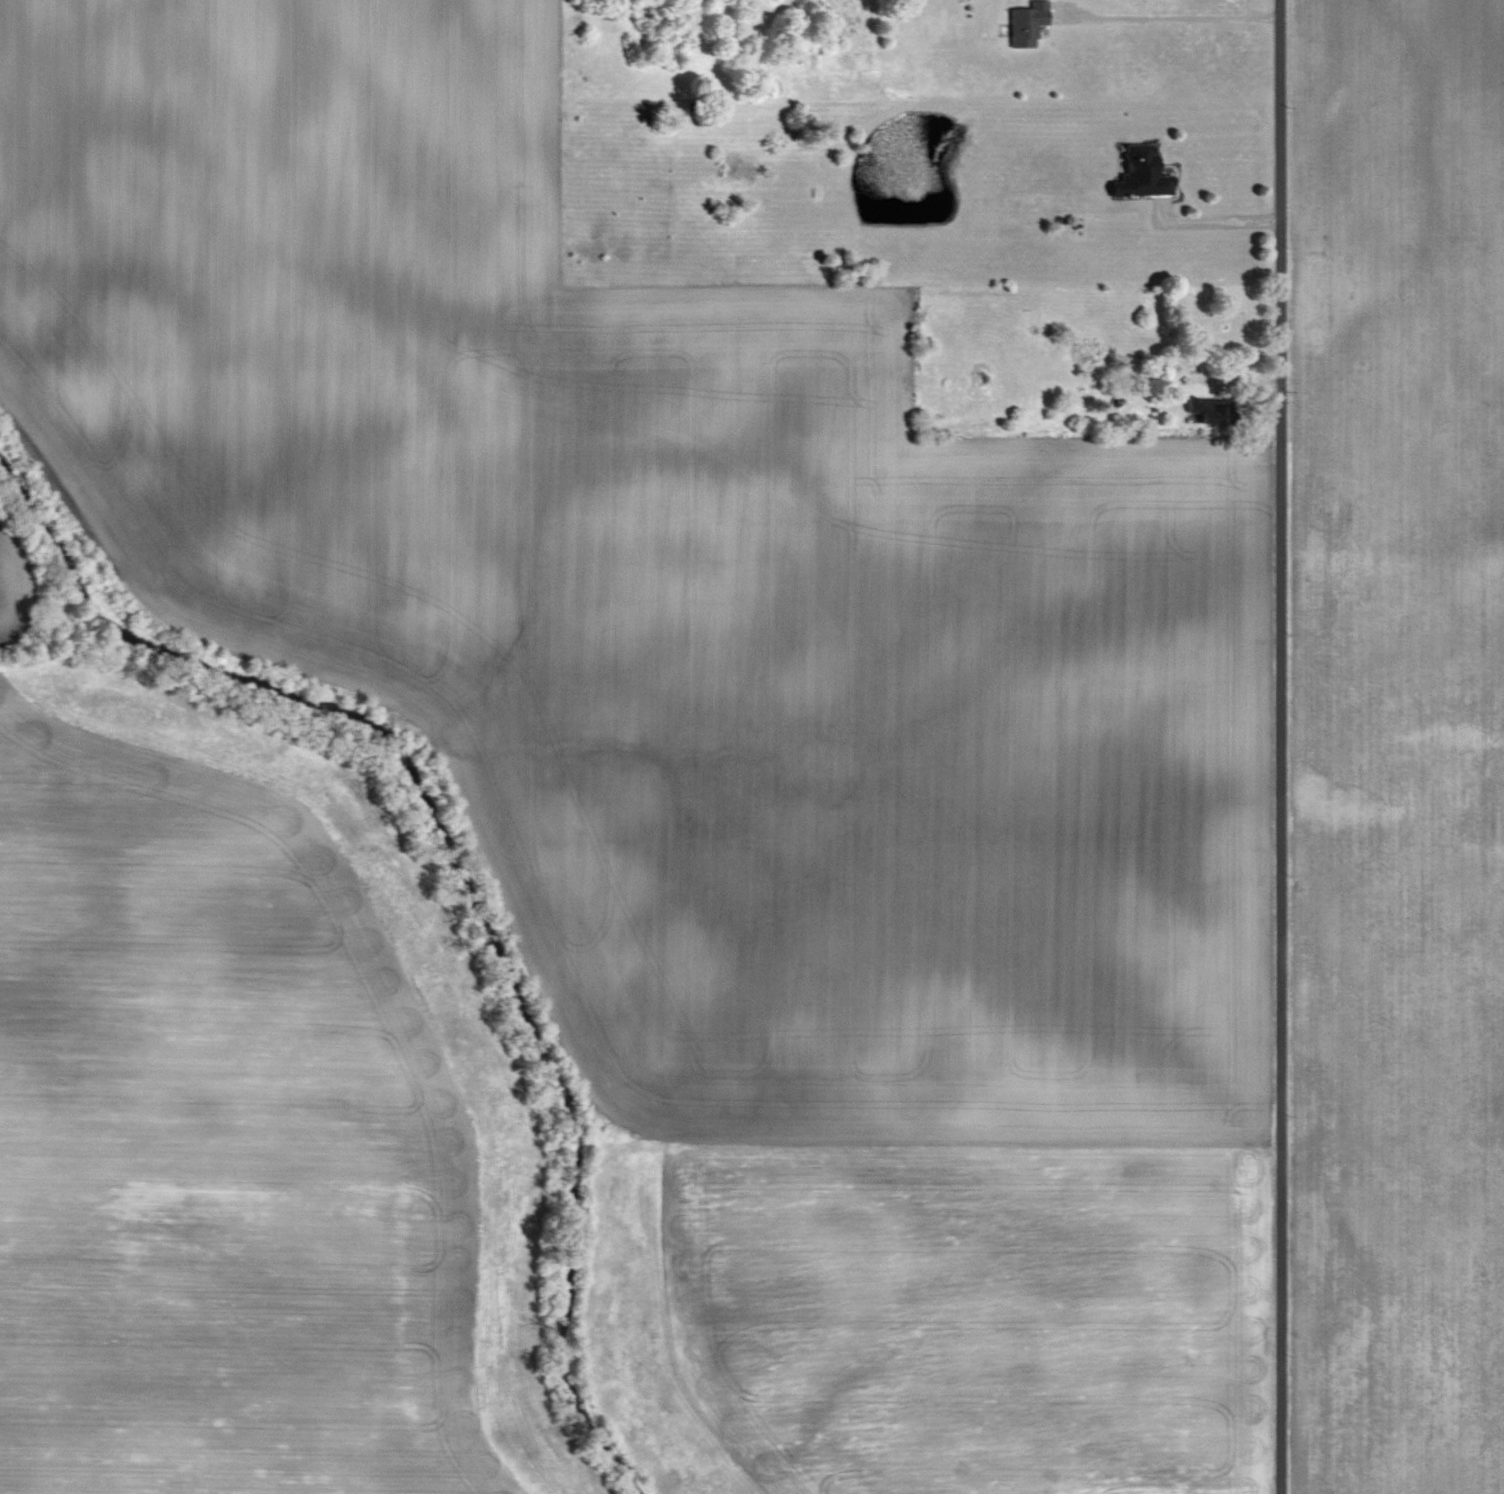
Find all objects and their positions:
road: (1167, 15)
building: (1028, 25)
road: (1216, 218)
building: (1087, 351)
building: (1213, 411)
road: (1281, 747)

